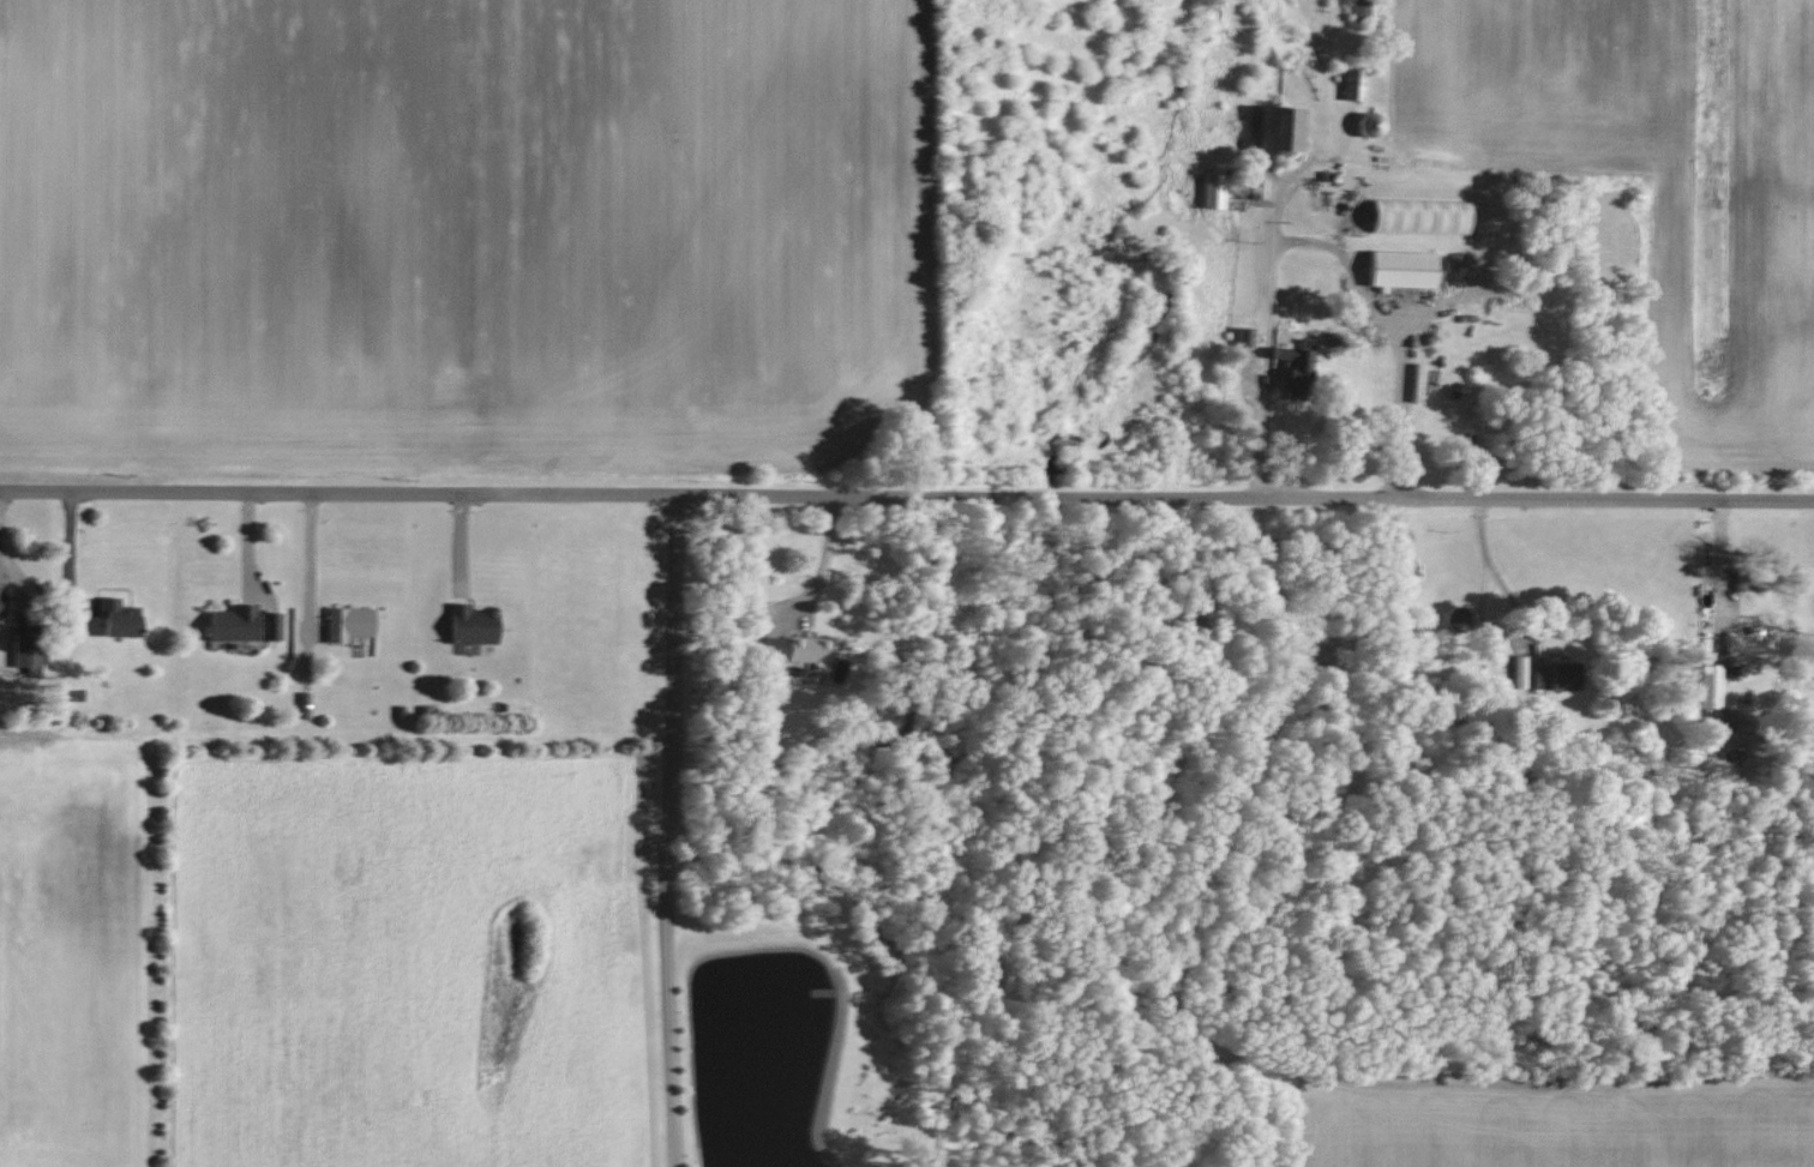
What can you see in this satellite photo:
building: (1350, 85)
building: (1363, 125)
building: (1272, 128)
building: (1251, 188)
building: (1208, 192)
building: (1398, 270)
road: (1265, 325)
road: (1394, 331)
building: (1239, 337)
building: (1290, 367)
road: (906, 498)
road: (822, 564)
road: (308, 567)
building: (113, 619)
building: (344, 624)
building: (239, 625)
building: (465, 625)
building: (1742, 644)
building: (792, 650)
building: (1516, 672)
building: (1548, 676)
building: (1707, 686)
road: (663, 831)

